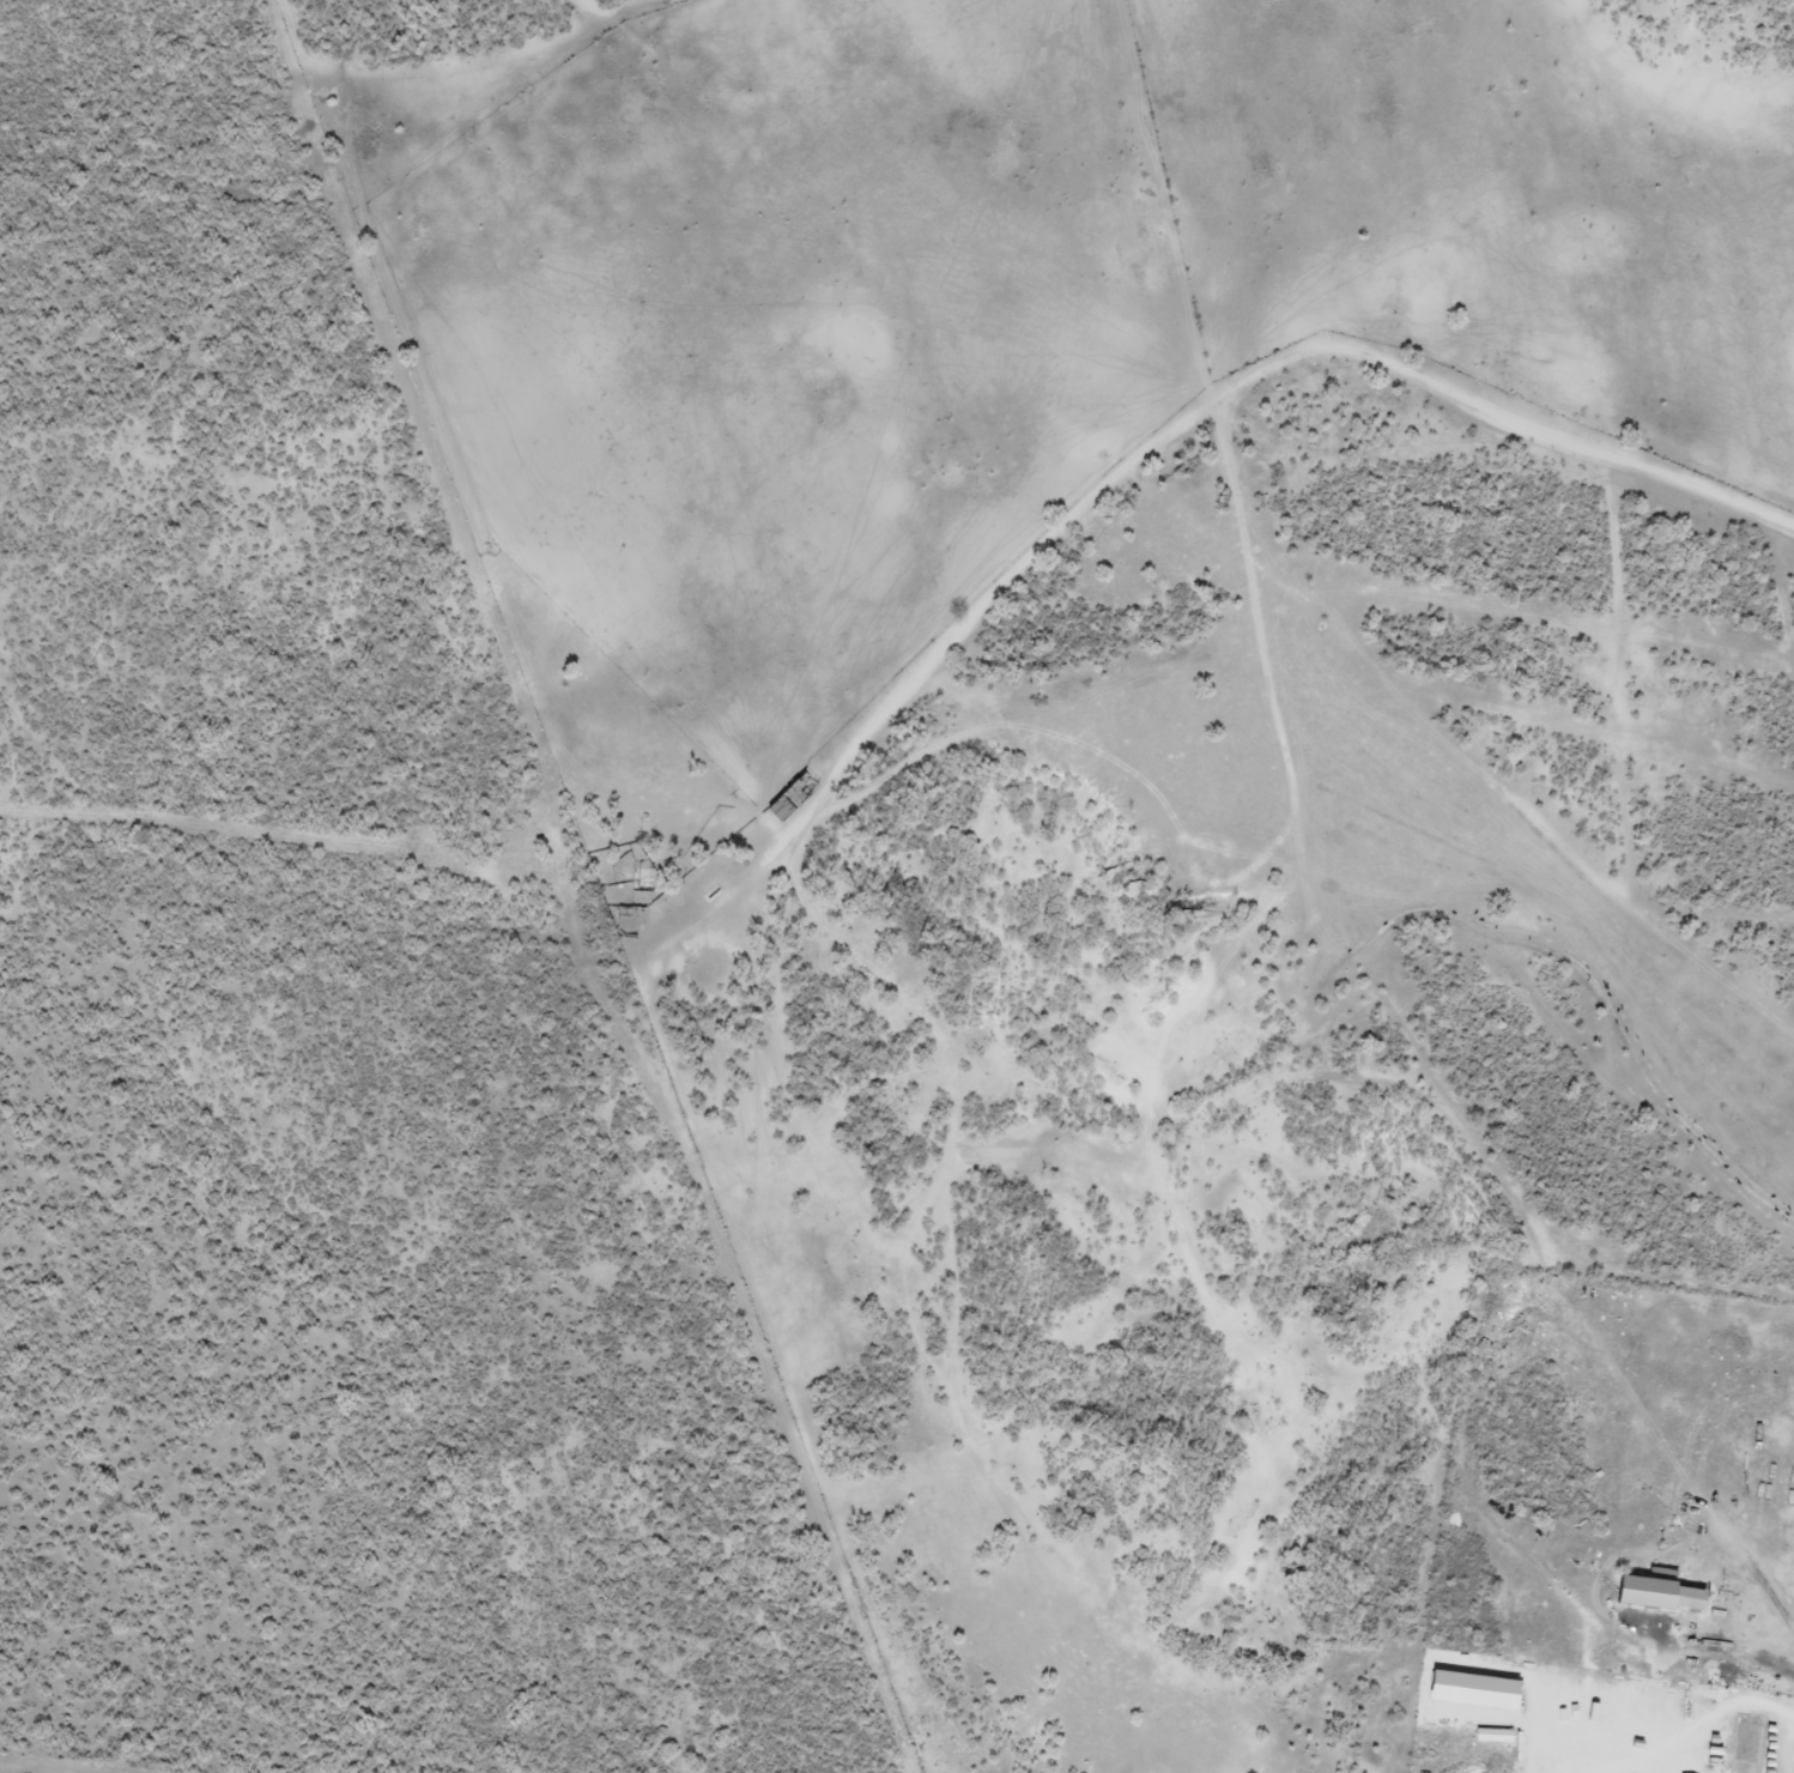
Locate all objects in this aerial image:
road: (1220, 393)
building: (1663, 1595)

